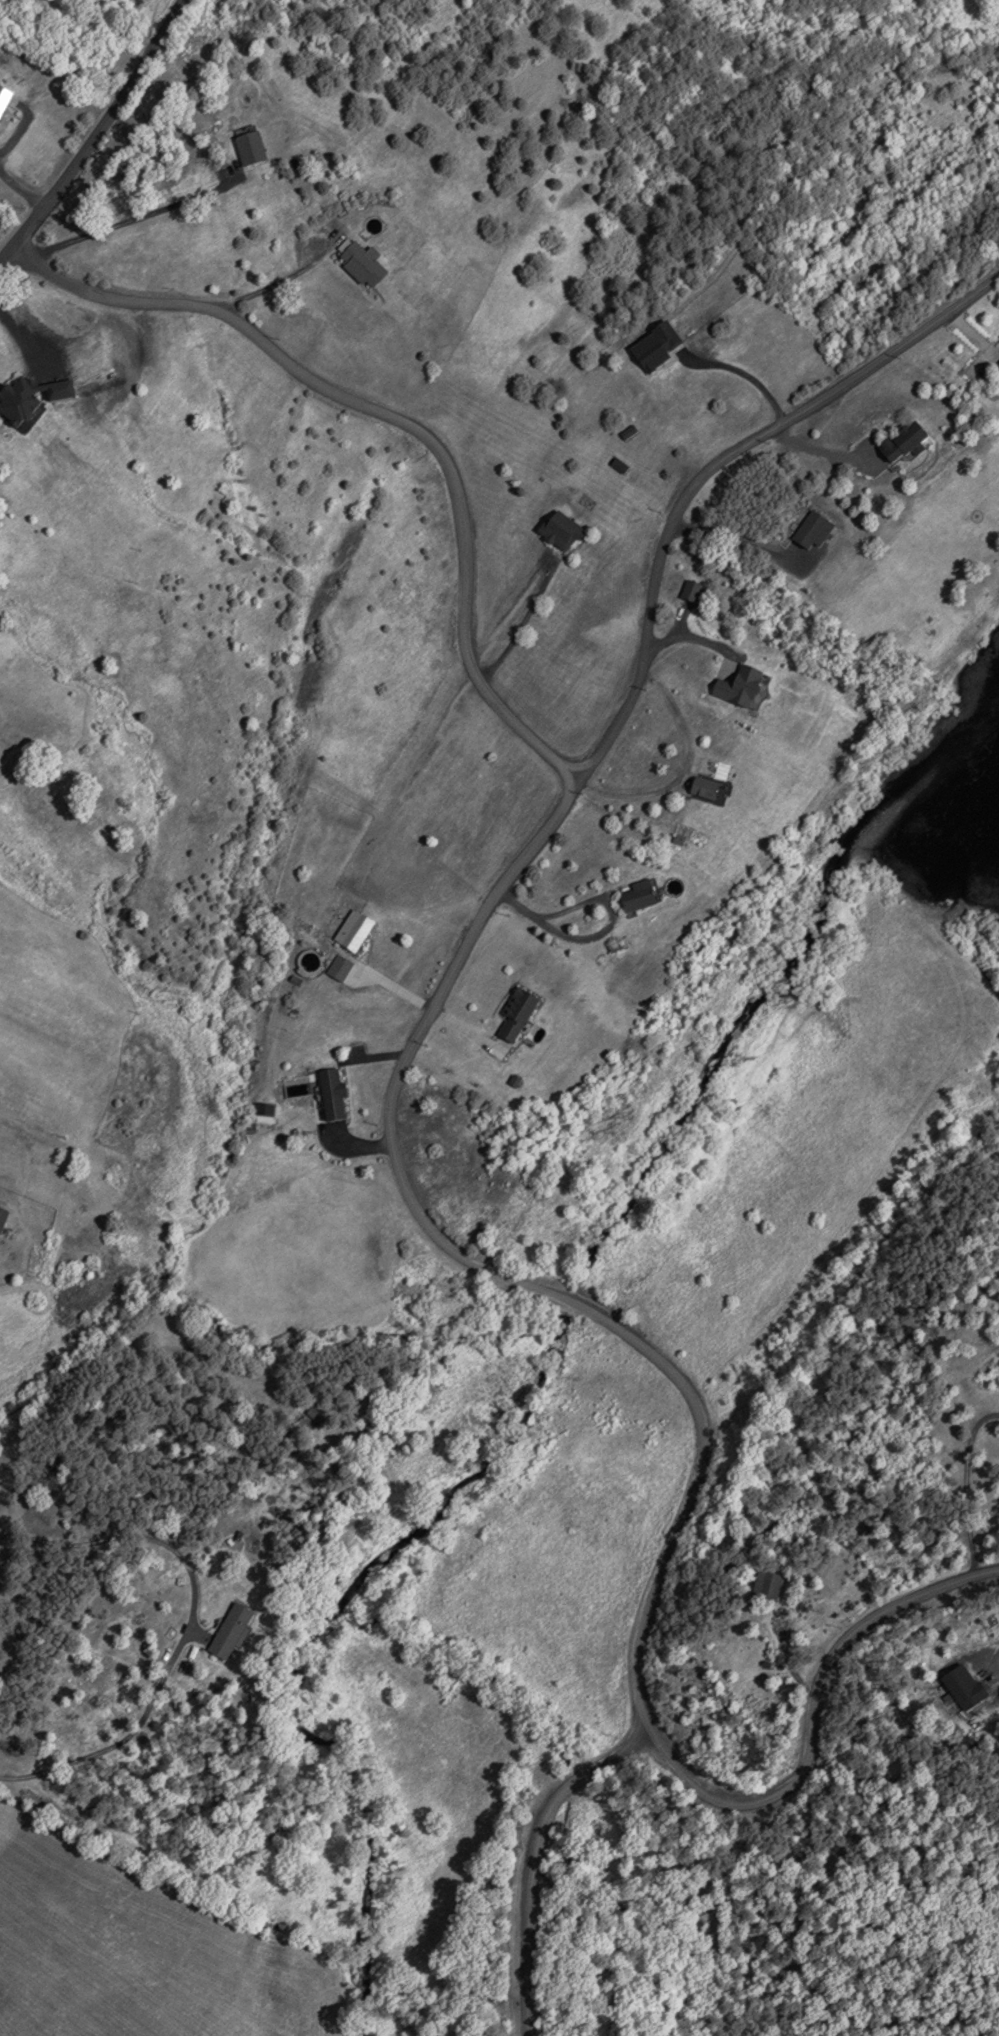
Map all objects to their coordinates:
road: (97, 133)
road: (708, 463)
road: (388, 1134)
road: (528, 1855)

